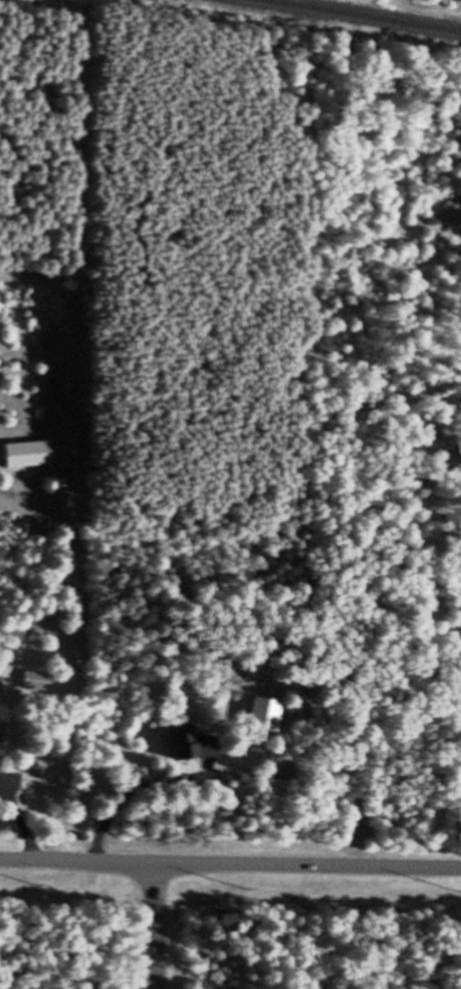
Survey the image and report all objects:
railway: (338, 19)
road: (77, 653)
building: (41, 690)
building: (189, 753)
building: (0, 755)
road: (135, 789)
road: (230, 860)
road: (166, 924)

